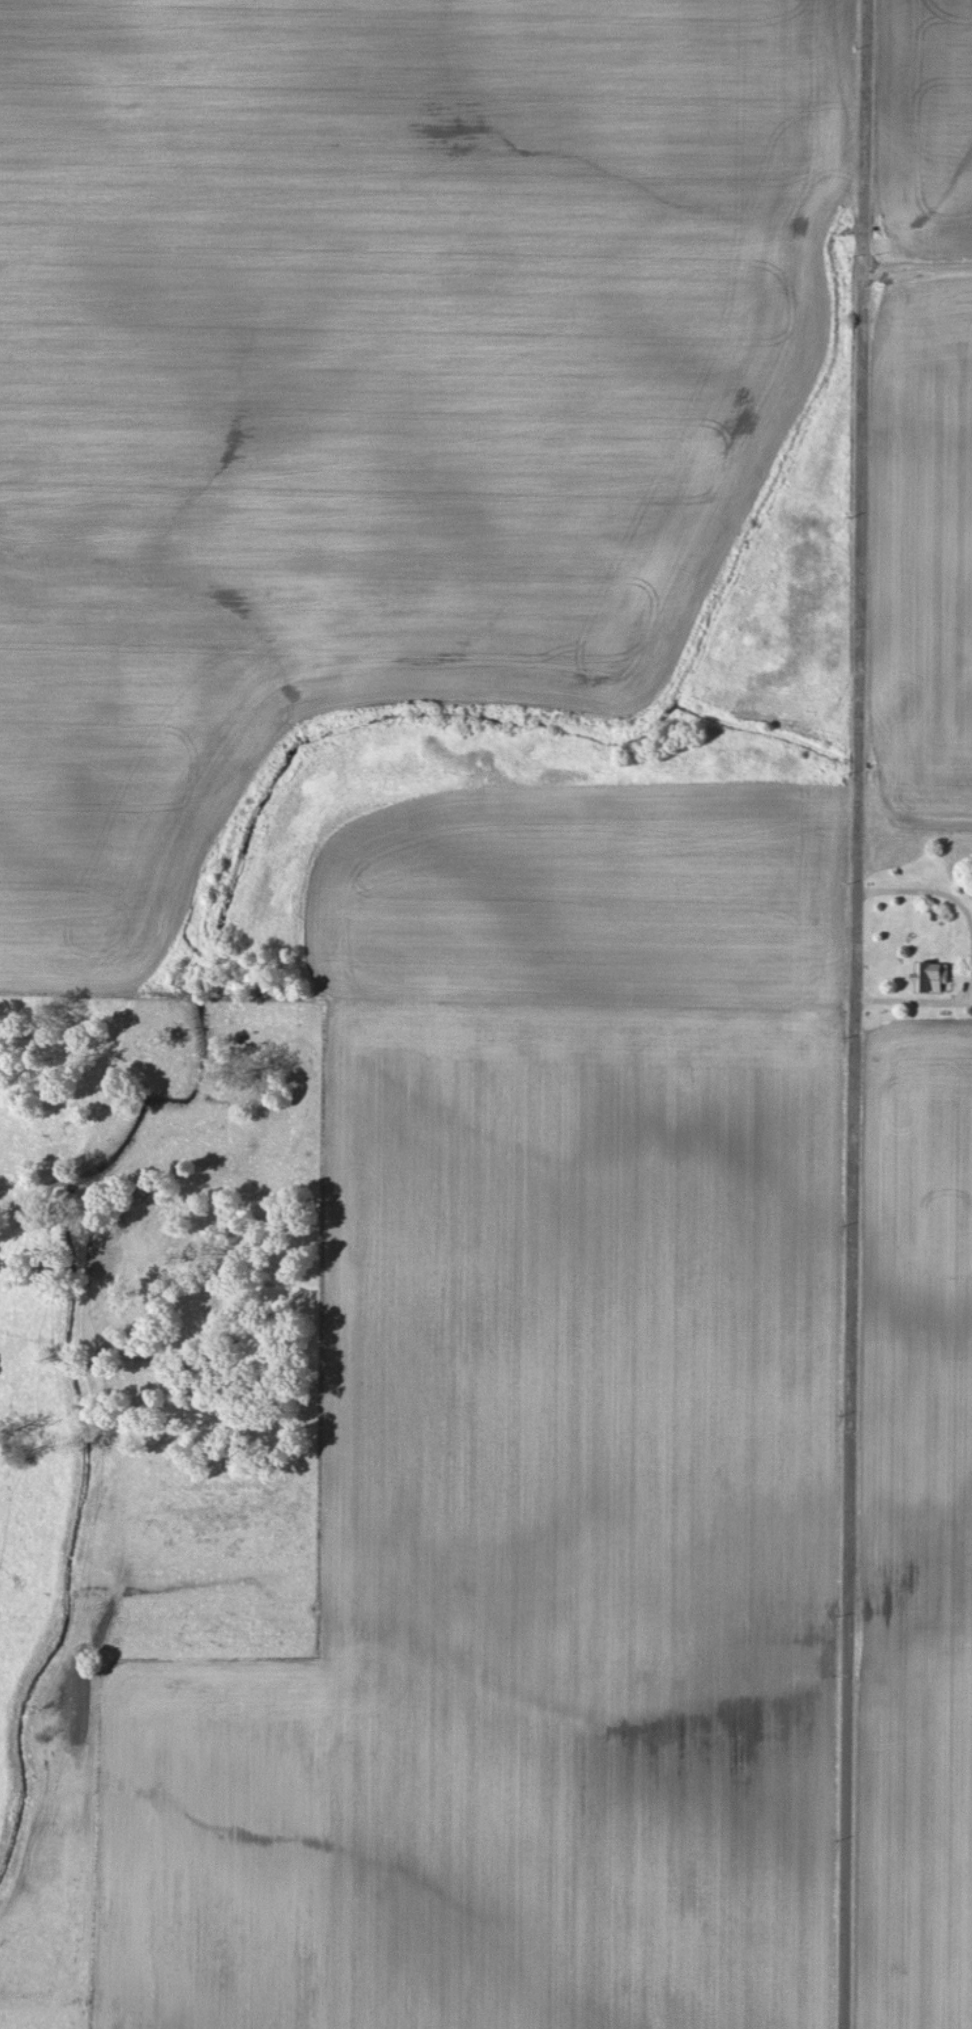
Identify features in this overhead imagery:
road: (915, 269)
road: (921, 891)
road: (938, 1002)
road: (853, 1014)
road: (912, 1281)

